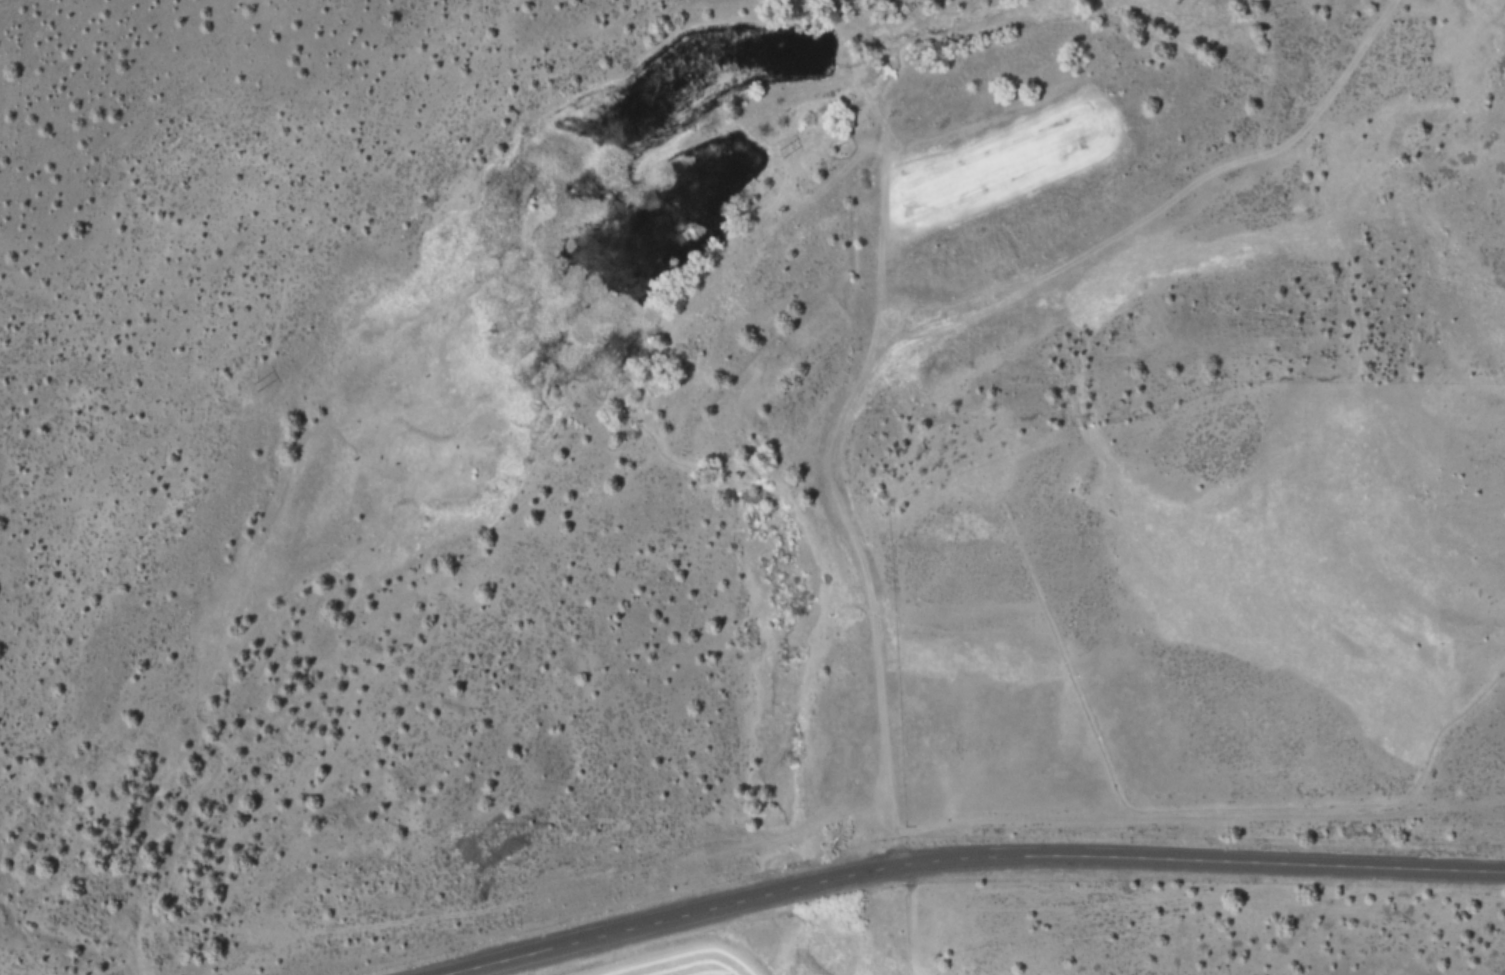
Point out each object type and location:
road: (1153, 861)
road: (792, 887)
road: (612, 931)
crop: (691, 964)

